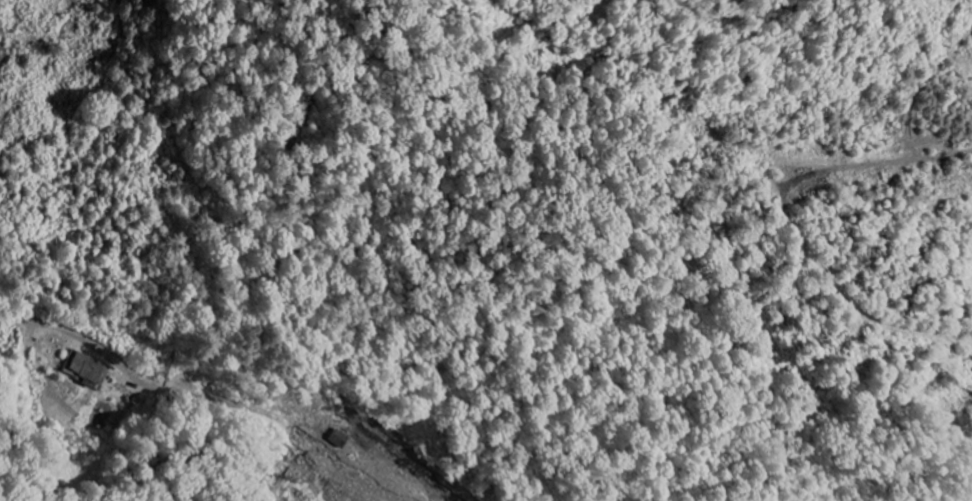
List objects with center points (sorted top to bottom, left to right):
building: (93, 368)
road: (142, 379)

